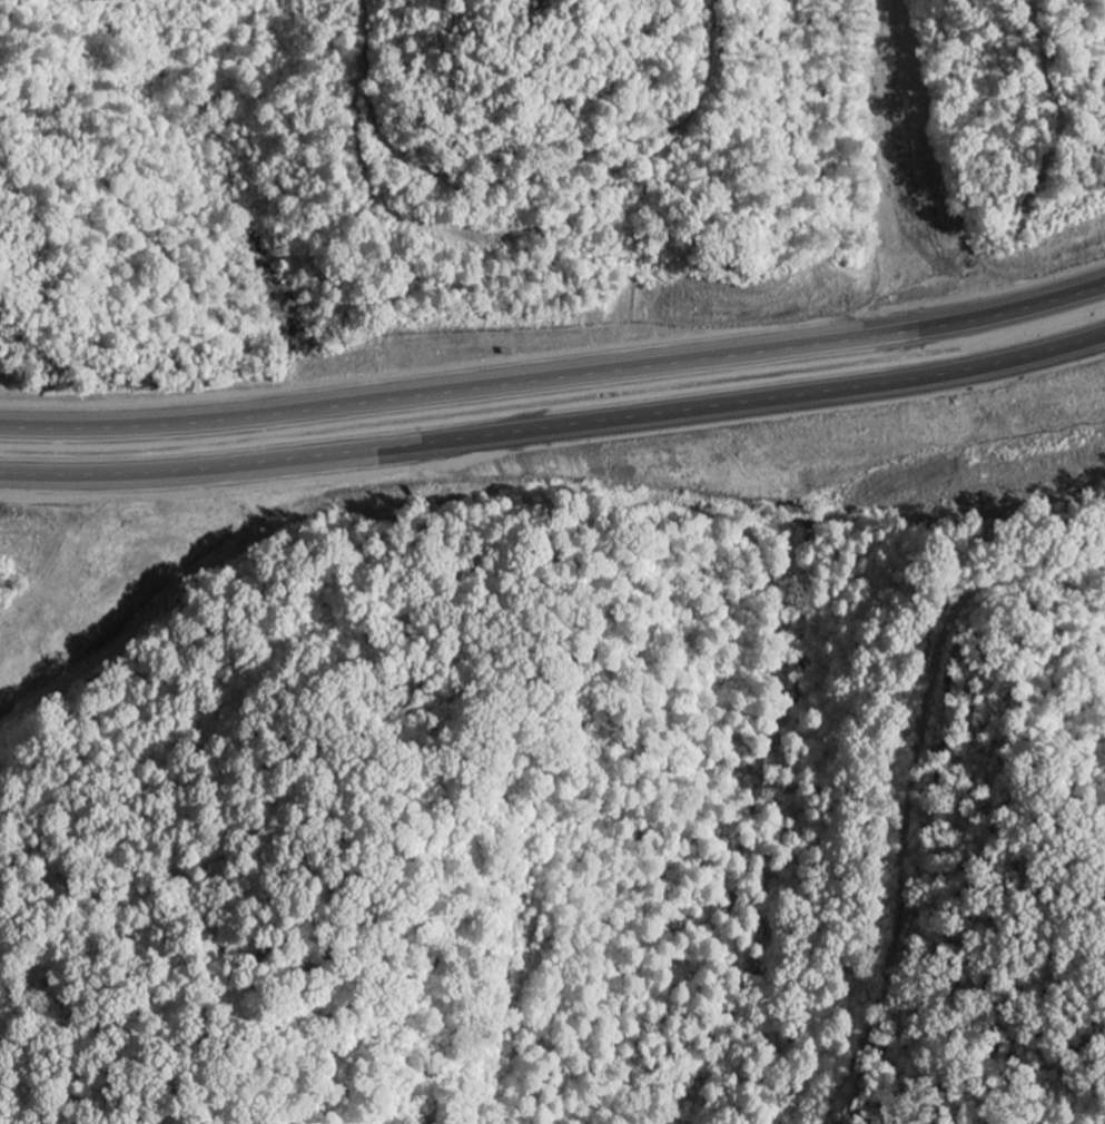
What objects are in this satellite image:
road: (555, 384)
road: (555, 434)

